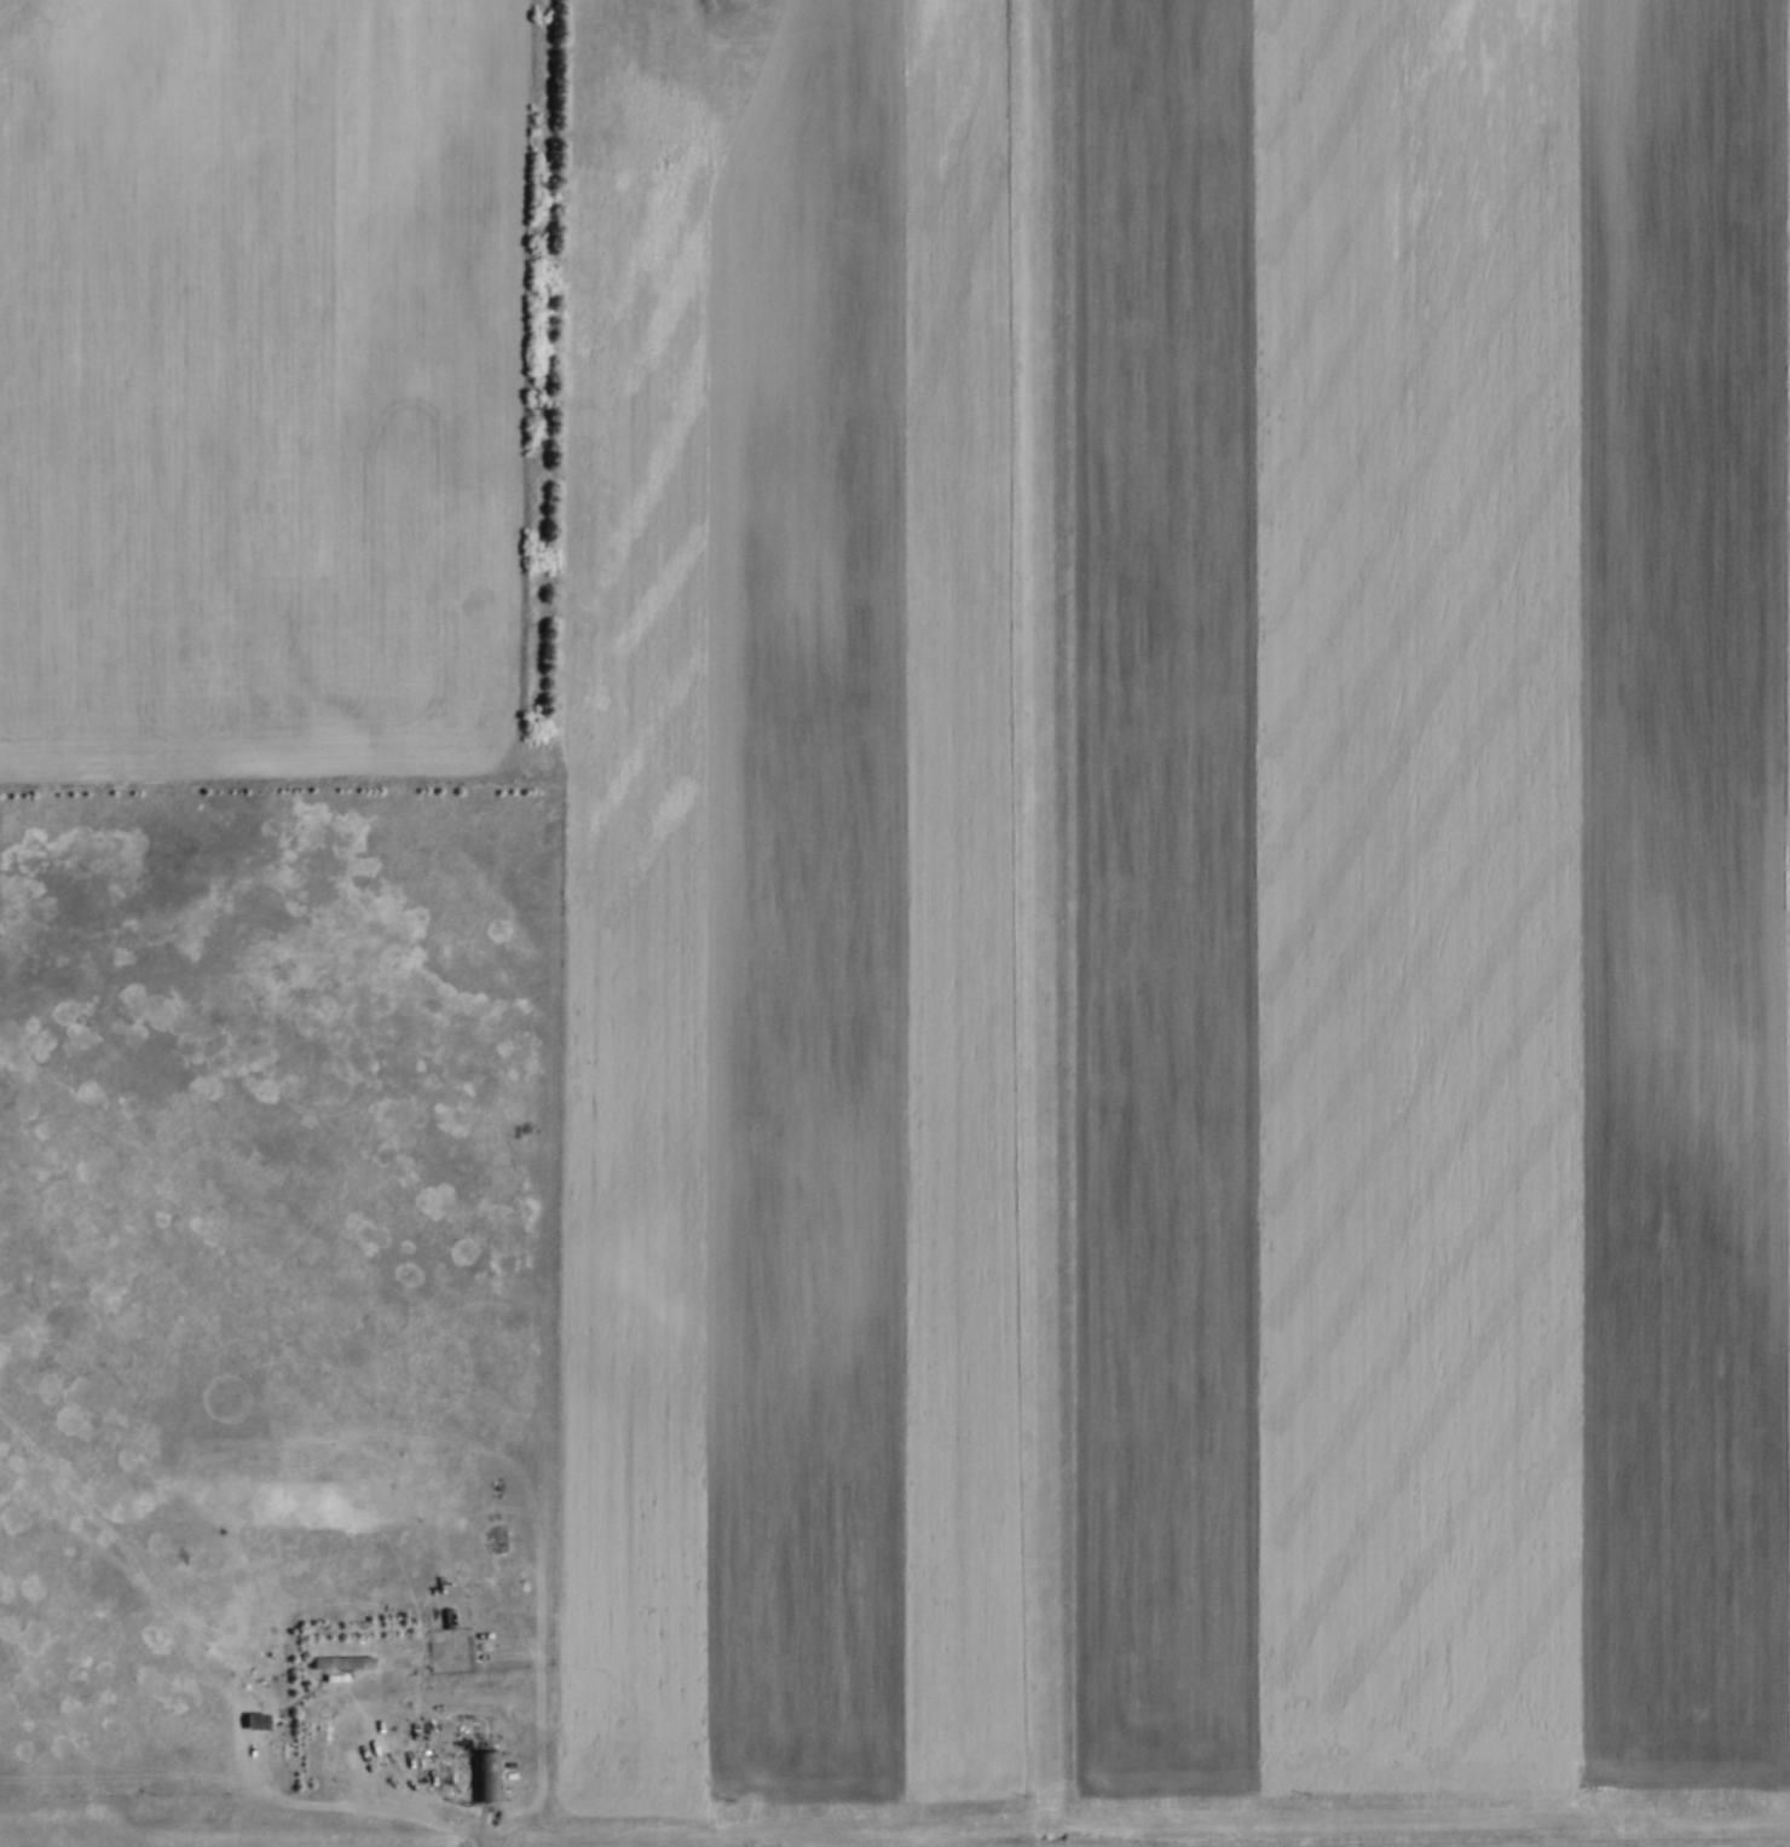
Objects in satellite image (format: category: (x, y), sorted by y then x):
crop: (1427, 885)
building: (342, 1661)
building: (484, 1773)

